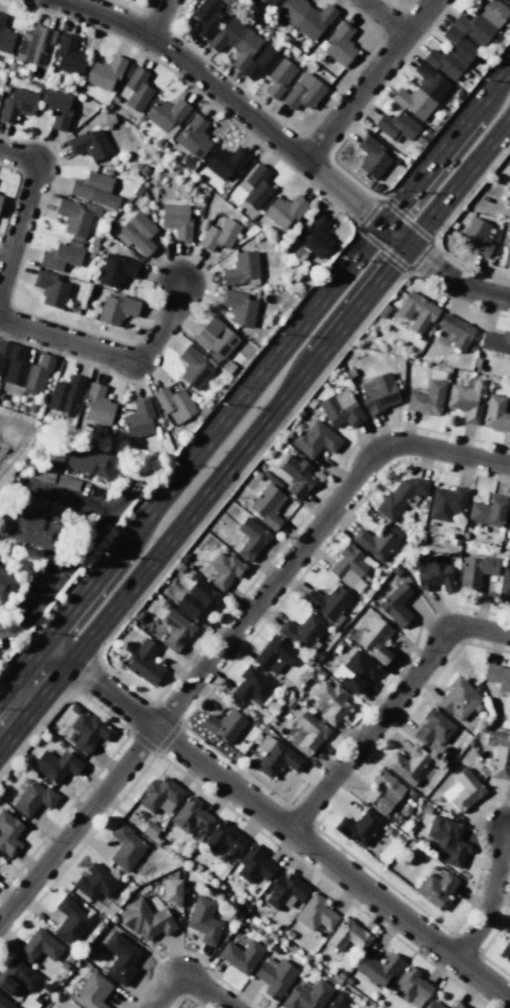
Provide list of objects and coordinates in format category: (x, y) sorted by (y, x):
building: (507, 1)
building: (301, 15)
building: (207, 17)
road: (385, 18)
road: (161, 19)
building: (5, 37)
building: (466, 38)
building: (339, 44)
building: (33, 45)
building: (68, 55)
building: (253, 56)
building: (104, 73)
road: (371, 80)
building: (136, 89)
building: (303, 92)
building: (421, 92)
building: (17, 104)
building: (56, 108)
building: (166, 115)
building: (396, 126)
building: (193, 136)
building: (89, 144)
road: (286, 146)
building: (371, 157)
building: (225, 162)
building: (256, 187)
building: (93, 189)
building: (0, 196)
building: (507, 202)
building: (283, 211)
road: (26, 213)
building: (75, 216)
building: (176, 220)
traffic signals: (384, 225)
building: (136, 233)
building: (219, 235)
building: (315, 235)
building: (477, 236)
traffic signals: (409, 245)
building: (507, 253)
building: (60, 257)
building: (241, 269)
building: (116, 270)
building: (51, 289)
building: (238, 307)
building: (116, 309)
building: (416, 312)
building: (456, 331)
building: (495, 342)
building: (205, 351)
road: (111, 355)
road: (276, 358)
building: (22, 370)
building: (378, 392)
road: (288, 393)
building: (65, 394)
building: (427, 399)
building: (466, 400)
building: (96, 405)
building: (174, 405)
building: (340, 409)
building: (495, 414)
building: (138, 418)
building: (314, 440)
building: (81, 459)
building: (295, 476)
building: (54, 478)
building: (398, 497)
building: (33, 502)
building: (446, 503)
building: (266, 505)
building: (58, 510)
building: (487, 511)
building: (508, 521)
building: (29, 530)
building: (250, 538)
building: (377, 540)
building: (349, 567)
building: (224, 570)
building: (475, 570)
building: (434, 574)
building: (5, 584)
building: (503, 585)
building: (197, 601)
building: (328, 603)
building: (395, 605)
building: (175, 630)
building: (302, 631)
road: (235, 636)
building: (372, 639)
building: (274, 655)
building: (144, 662)
building: (355, 671)
building: (498, 677)
building: (251, 686)
road: (29, 687)
building: (457, 699)
building: (330, 702)
road: (392, 707)
building: (224, 725)
building: (432, 728)
building: (89, 732)
building: (308, 734)
building: (499, 754)
building: (275, 757)
building: (407, 764)
building: (57, 765)
building: (383, 791)
building: (462, 791)
building: (160, 795)
building: (34, 798)
building: (190, 816)
road: (285, 824)
building: (358, 827)
building: (8, 832)
building: (223, 840)
building: (447, 840)
building: (125, 848)
building: (253, 865)
building: (94, 882)
building: (436, 889)
building: (171, 890)
building: (284, 890)
road: (499, 899)
building: (315, 913)
building: (146, 920)
building: (203, 920)
building: (70, 921)
building: (347, 935)
building: (39, 946)
building: (505, 952)
building: (240, 955)
building: (120, 958)
building: (377, 969)
building: (16, 976)
building: (274, 976)
building: (411, 986)
road: (191, 990)
building: (91, 991)
building: (307, 995)
building: (337, 999)
building: (5, 1003)
building: (433, 1004)
building: (456, 1005)

